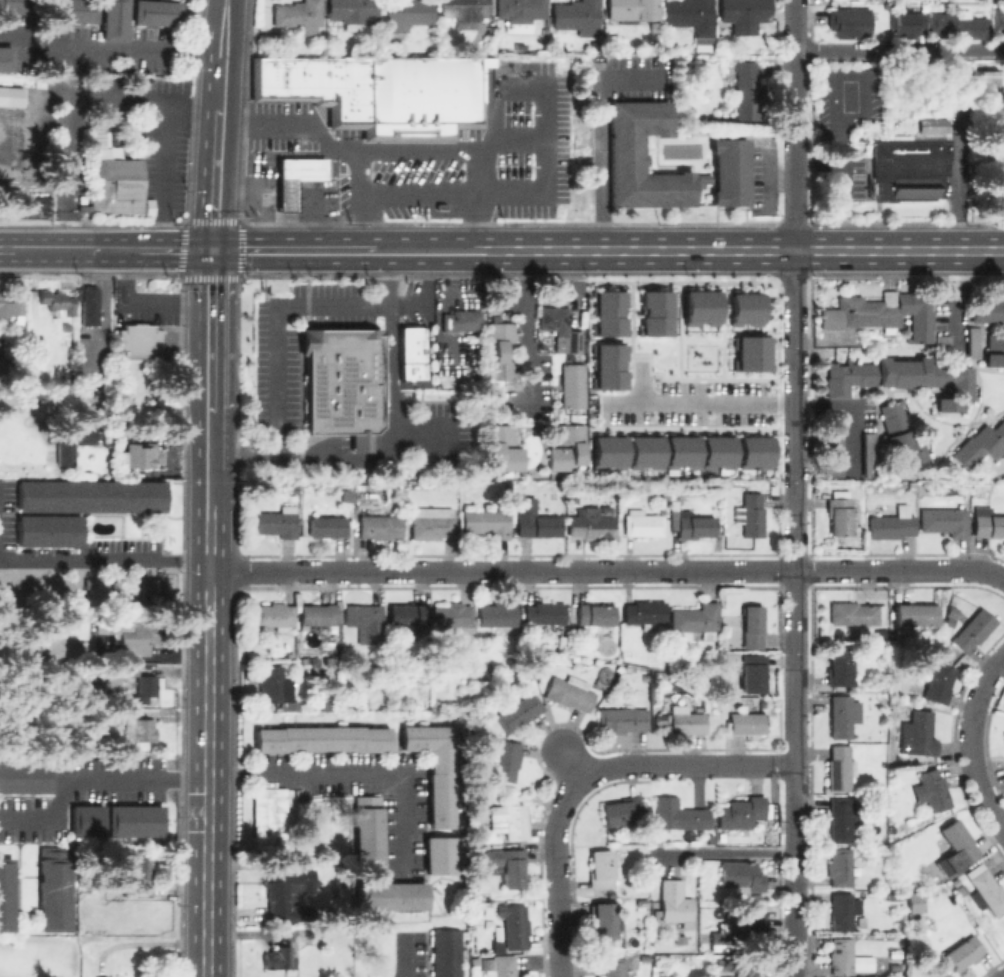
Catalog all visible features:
building: (20, 6)
building: (463, 10)
building: (73, 11)
building: (631, 11)
building: (156, 12)
building: (352, 12)
building: (406, 13)
building: (520, 13)
building: (744, 14)
road: (224, 15)
building: (300, 15)
building: (690, 15)
building: (577, 16)
building: (114, 20)
building: (996, 20)
building: (850, 22)
road: (795, 25)
building: (906, 25)
building: (959, 25)
building: (655, 26)
road: (110, 45)
road: (977, 49)
road: (873, 50)
building: (6, 58)
road: (221, 69)
road: (849, 74)
building: (986, 82)
building: (747, 89)
building: (379, 90)
road: (142, 95)
building: (12, 98)
park: (915, 99)
road: (290, 124)
building: (930, 125)
road: (599, 129)
building: (96, 136)
road: (450, 148)
road: (794, 150)
building: (627, 153)
road: (841, 162)
road: (817, 164)
building: (907, 169)
road: (480, 171)
building: (730, 171)
road: (62, 172)
road: (160, 173)
road: (767, 173)
building: (296, 178)
road: (215, 179)
building: (703, 180)
building: (113, 184)
road: (768, 192)
road: (542, 195)
building: (439, 206)
road: (240, 218)
road: (362, 223)
road: (476, 223)
road: (36, 249)
road: (93, 250)
road: (163, 250)
traffic signals: (212, 251)
road: (287, 251)
road: (683, 251)
road: (424, 296)
road: (143, 299)
road: (101, 300)
road: (954, 300)
building: (58, 301)
building: (11, 304)
building: (88, 305)
building: (699, 306)
building: (744, 307)
building: (606, 310)
building: (653, 313)
building: (880, 314)
building: (554, 318)
building: (461, 320)
road: (526, 329)
road: (210, 331)
building: (573, 341)
building: (970, 341)
building: (138, 342)
parking lot: (294, 342)
building: (993, 343)
building: (499, 351)
building: (749, 352)
building: (411, 354)
road: (794, 363)
building: (606, 365)
building: (4, 372)
road: (389, 373)
building: (899, 377)
building: (339, 379)
building: (570, 385)
road: (271, 387)
parking lot: (690, 404)
road: (700, 404)
road: (850, 408)
building: (899, 434)
road: (209, 442)
building: (72, 443)
building: (980, 444)
building: (834, 446)
building: (502, 447)
building: (565, 447)
building: (605, 450)
building: (642, 450)
building: (714, 450)
building: (752, 450)
building: (678, 451)
building: (867, 453)
building: (139, 456)
road: (240, 457)
road: (209, 491)
building: (88, 496)
building: (751, 515)
building: (839, 516)
building: (534, 520)
building: (944, 521)
building: (276, 522)
building: (487, 522)
building: (987, 522)
building: (432, 523)
building: (642, 523)
building: (329, 525)
building: (592, 525)
building: (694, 525)
building: (891, 526)
building: (381, 527)
building: (46, 530)
road: (104, 558)
road: (607, 571)
building: (150, 596)
building: (645, 613)
building: (856, 613)
building: (318, 614)
building: (407, 614)
building: (544, 614)
building: (593, 614)
building: (452, 615)
building: (498, 615)
building: (915, 615)
building: (274, 616)
building: (695, 617)
road: (797, 620)
building: (364, 622)
building: (751, 627)
building: (974, 629)
building: (133, 644)
building: (589, 646)
building: (839, 667)
building: (127, 669)
building: (316, 670)
building: (752, 672)
building: (272, 683)
building: (938, 683)
building: (145, 688)
building: (99, 692)
building: (570, 692)
building: (123, 700)
building: (357, 705)
building: (519, 711)
building: (842, 716)
building: (622, 720)
building: (686, 722)
building: (745, 723)
building: (137, 728)
building: (922, 733)
building: (1003, 734)
building: (323, 738)
road: (971, 742)
road: (207, 744)
building: (506, 761)
building: (1003, 763)
road: (682, 764)
building: (435, 768)
building: (840, 768)
road: (351, 773)
building: (25, 776)
road: (95, 782)
building: (932, 791)
building: (622, 811)
building: (741, 812)
road: (798, 812)
building: (678, 814)
building: (269, 817)
building: (86, 819)
building: (845, 819)
building: (135, 820)
building: (508, 820)
building: (368, 834)
building: (958, 846)
road: (732, 851)
building: (438, 854)
building: (507, 865)
building: (840, 867)
building: (601, 869)
building: (137, 873)
building: (743, 880)
road: (558, 881)
building: (54, 888)
building: (959, 890)
building: (986, 890)
building: (284, 891)
building: (6, 893)
building: (390, 895)
building: (916, 902)
building: (676, 906)
building: (843, 910)
road: (798, 918)
building: (604, 925)
building: (515, 926)
building: (740, 932)
building: (680, 943)
building: (446, 953)
building: (963, 953)
road: (408, 955)
building: (842, 956)
building: (279, 958)
building: (657, 963)
building: (501, 965)
building: (614, 967)
building: (743, 971)
building: (100, 976)
building: (930, 976)

